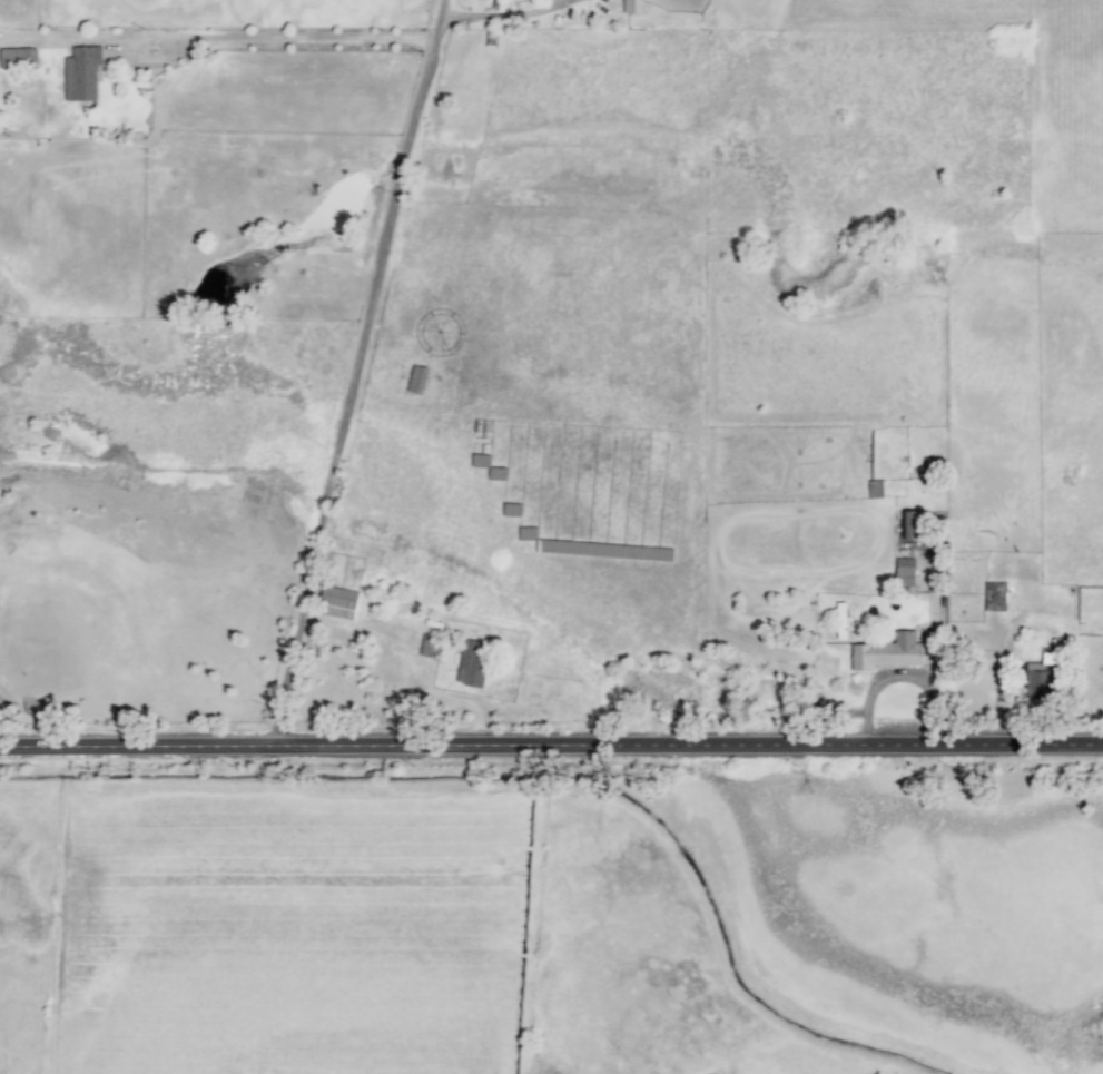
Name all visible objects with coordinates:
building: (632, 6)
road: (498, 17)
road: (267, 40)
building: (18, 58)
building: (81, 73)
road: (357, 372)
building: (481, 461)
building: (496, 474)
building: (512, 510)
building: (912, 524)
building: (528, 533)
building: (604, 550)
building: (905, 572)
building: (995, 597)
building: (338, 602)
building: (431, 647)
road: (396, 648)
building: (888, 652)
building: (472, 663)
building: (1038, 682)
road: (459, 706)
road: (551, 745)

